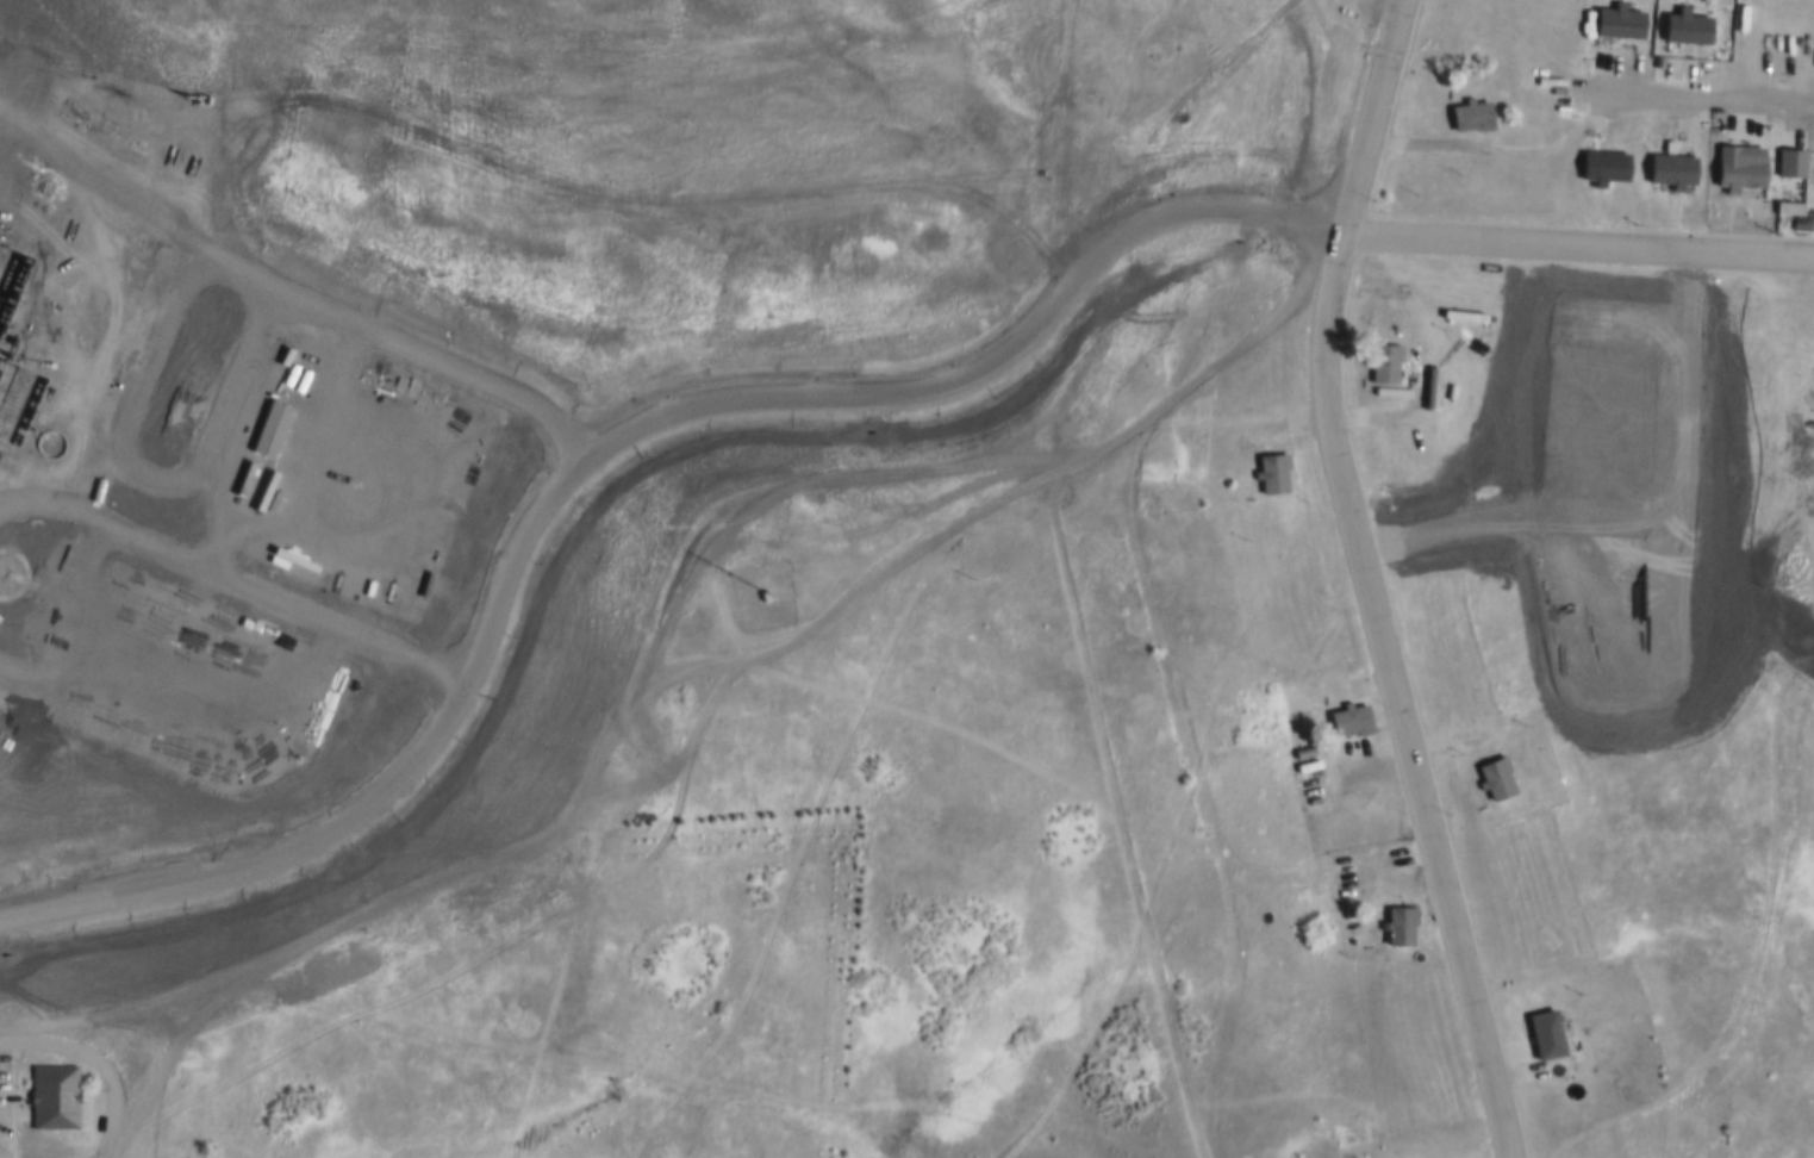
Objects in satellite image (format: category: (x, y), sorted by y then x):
building: (1615, 26)
building: (1682, 31)
building: (1602, 64)
building: (1466, 118)
building: (1785, 164)
building: (1598, 168)
building: (1735, 170)
building: (1667, 174)
building: (1783, 214)
road: (1577, 249)
road: (892, 362)
building: (1382, 363)
road: (1395, 415)
building: (1268, 477)
road: (1133, 522)
road: (1361, 581)
building: (761, 597)
road: (841, 604)
road: (592, 706)
building: (1347, 720)
building: (1299, 749)
building: (1491, 782)
building: (1397, 926)
road: (1771, 969)
road: (1236, 1010)
building: (1542, 1034)
road: (99, 1060)
parking lot: (4, 1082)
road: (1565, 1087)
building: (52, 1096)

